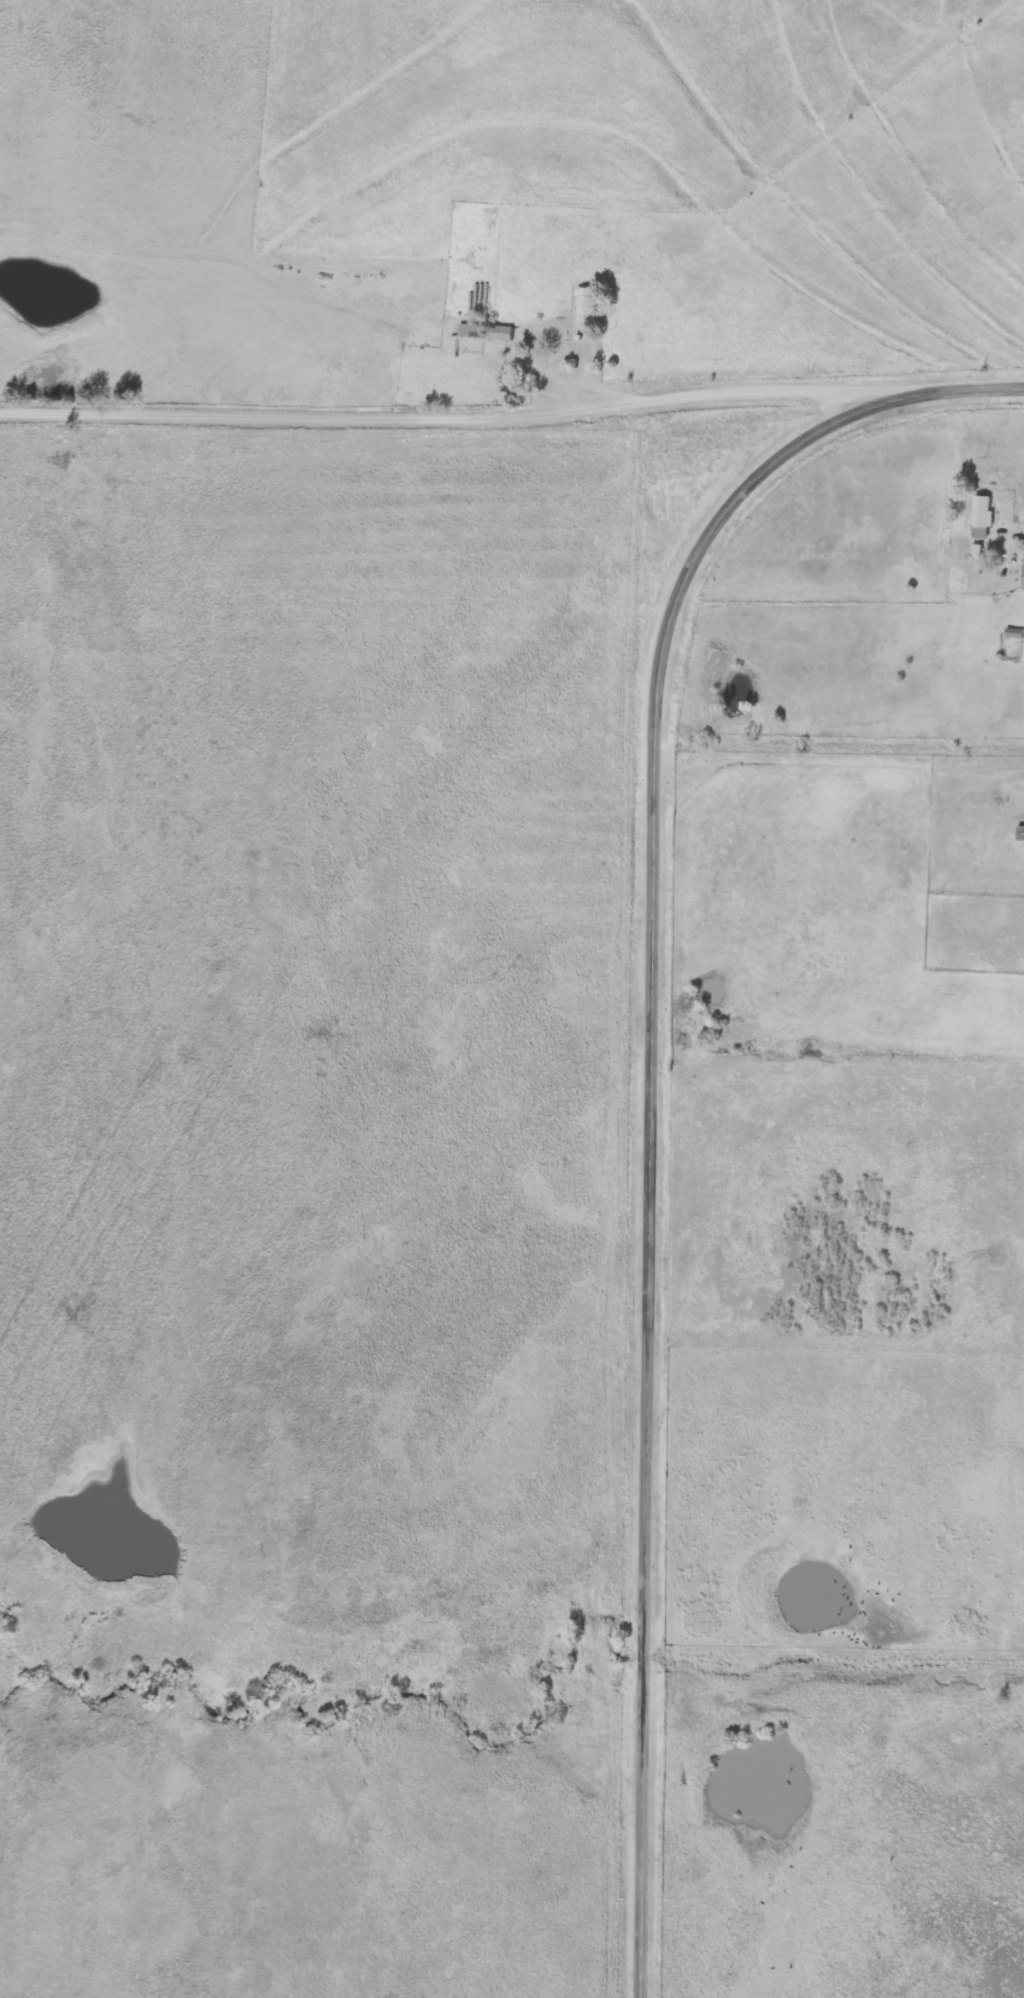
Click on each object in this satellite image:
building: (583, 306)
building: (468, 330)
building: (499, 332)
building: (518, 386)
road: (440, 418)
building: (979, 517)
building: (1021, 577)
building: (1018, 833)
road: (649, 1078)

